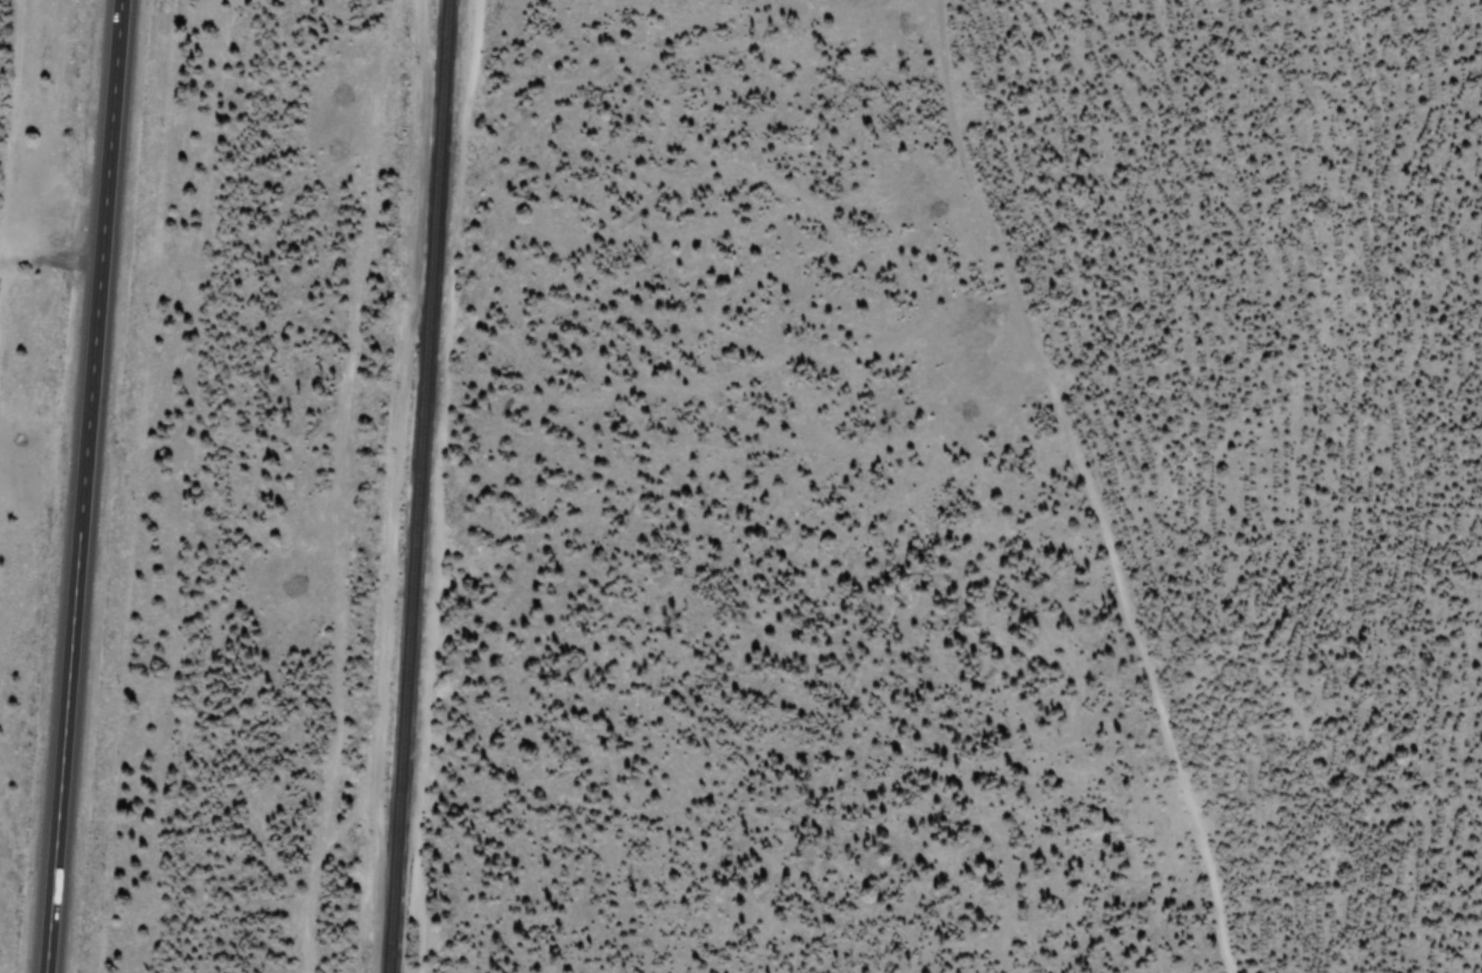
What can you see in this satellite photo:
road: (84, 486)
railway: (417, 486)

